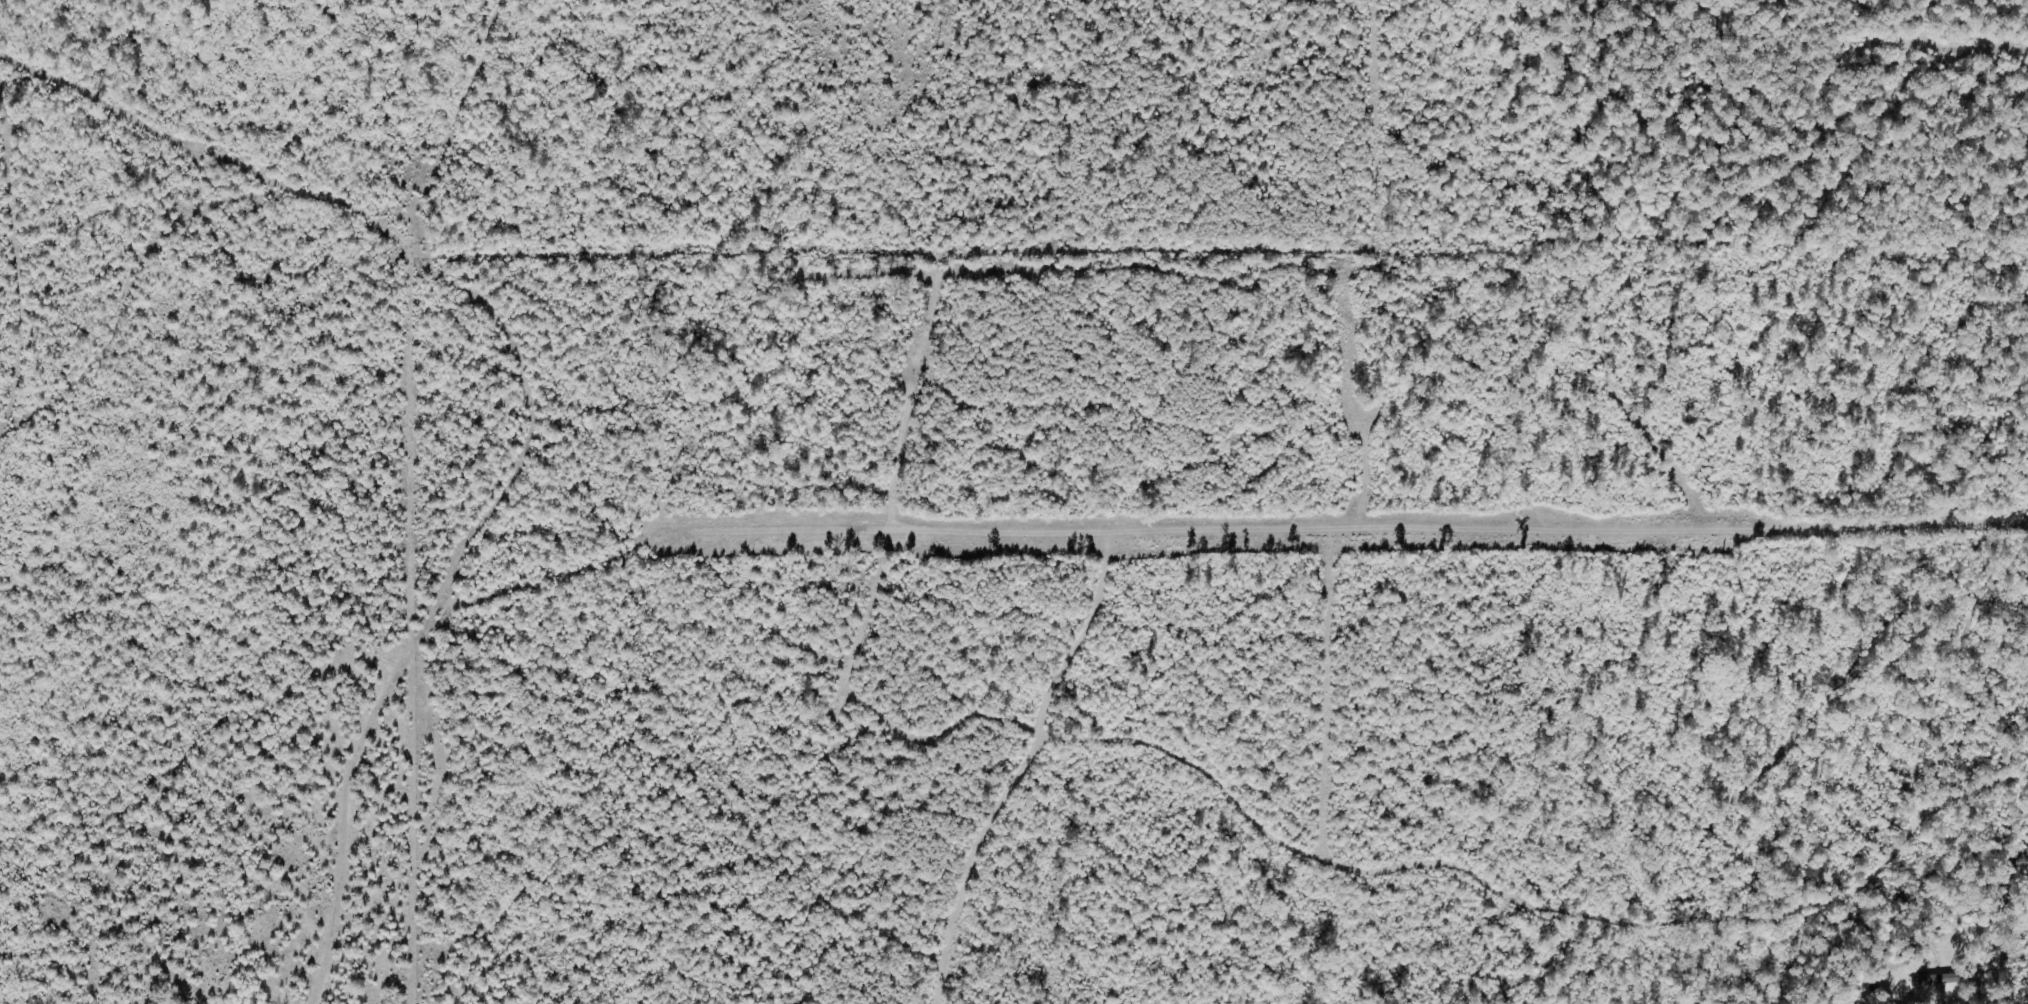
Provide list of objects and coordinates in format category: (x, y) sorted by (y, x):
building: (1937, 980)

